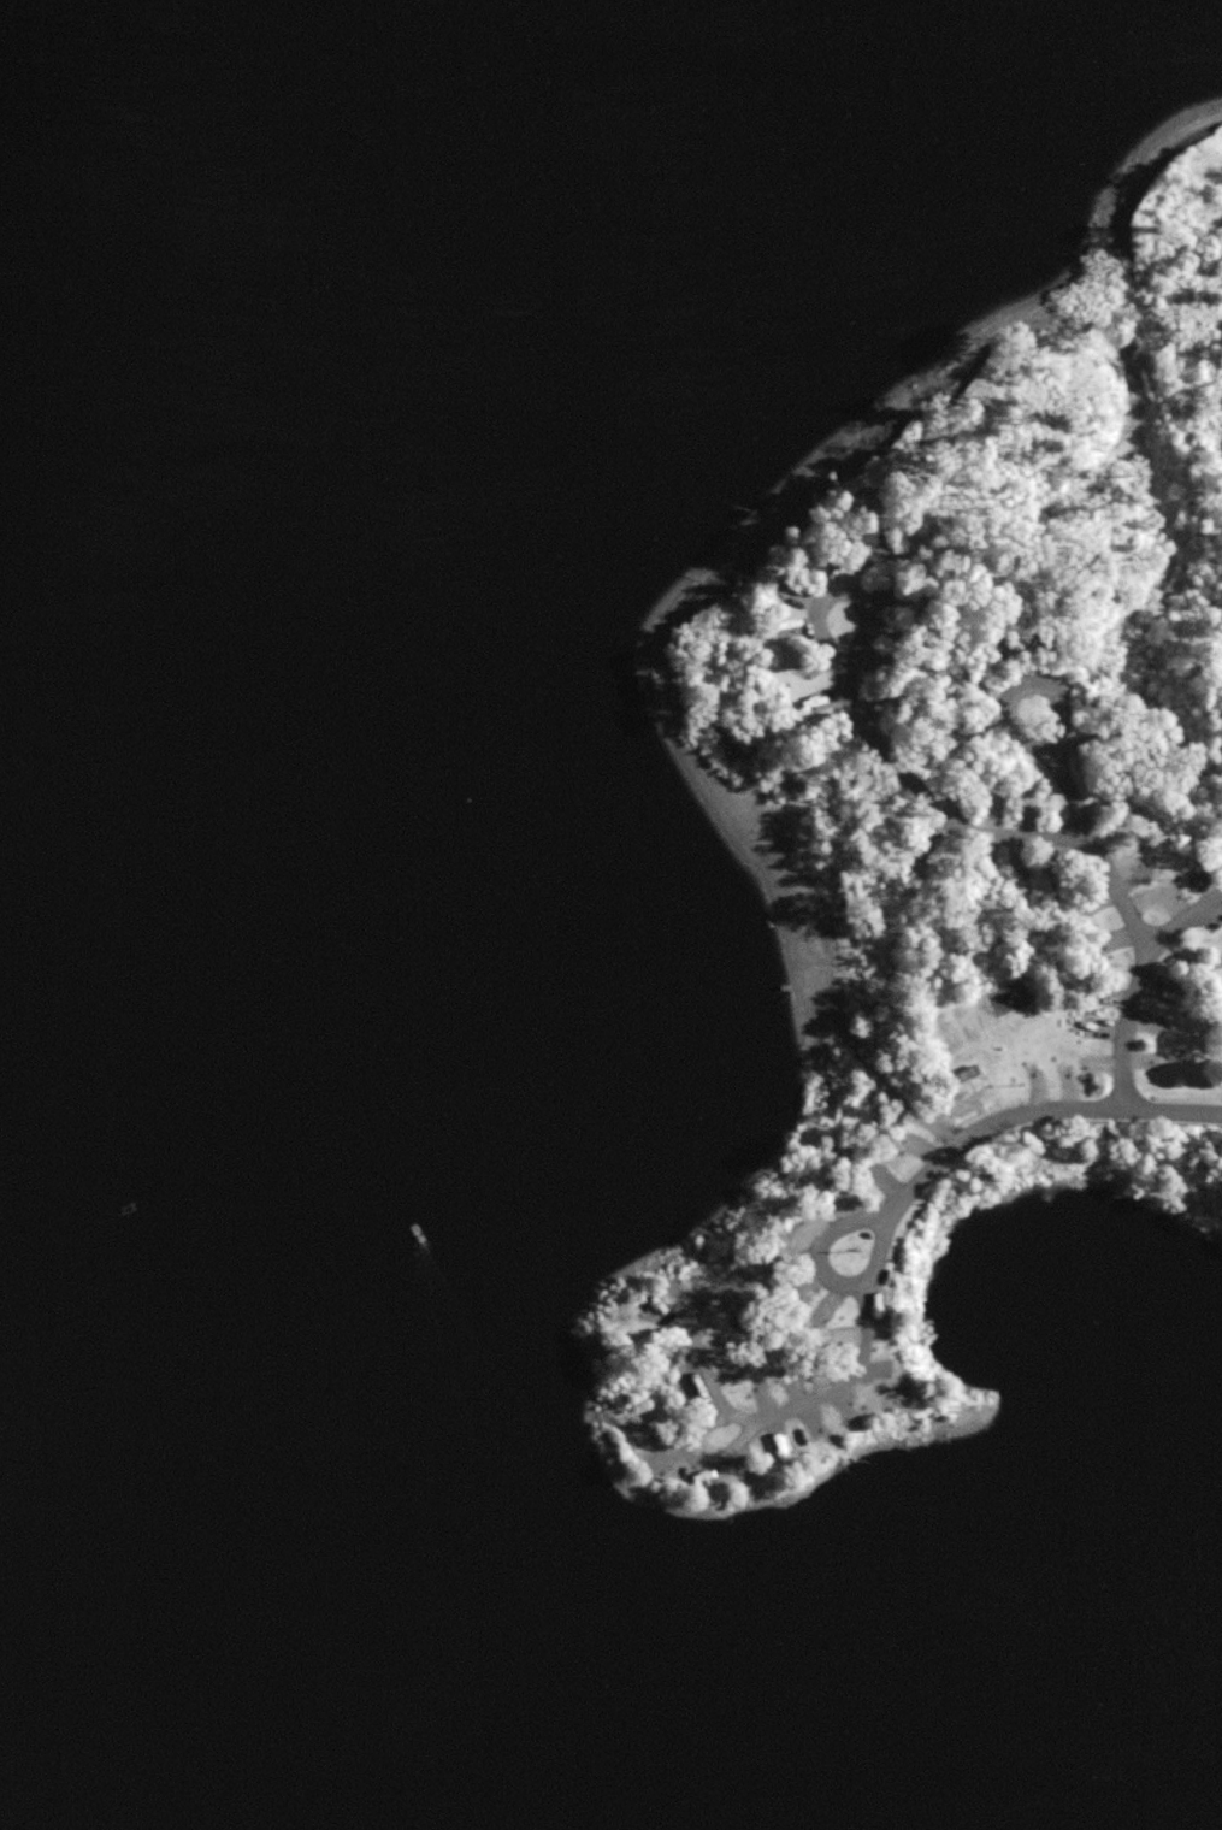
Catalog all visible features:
road: (889, 625)
road: (1053, 768)
road: (1068, 837)
road: (1185, 922)
building: (1011, 998)
road: (1023, 1106)
road: (826, 1282)

